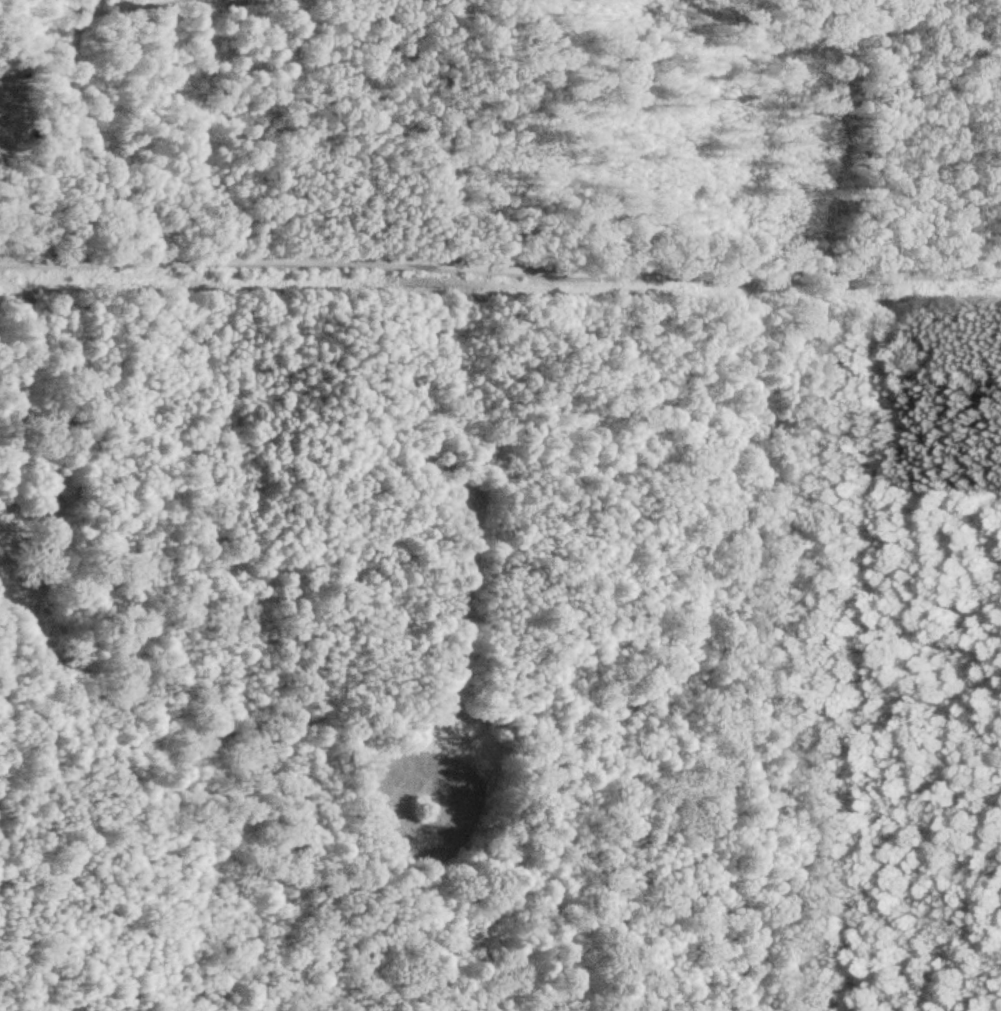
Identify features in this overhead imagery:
road: (69, 100)
road: (500, 263)
road: (24, 374)

